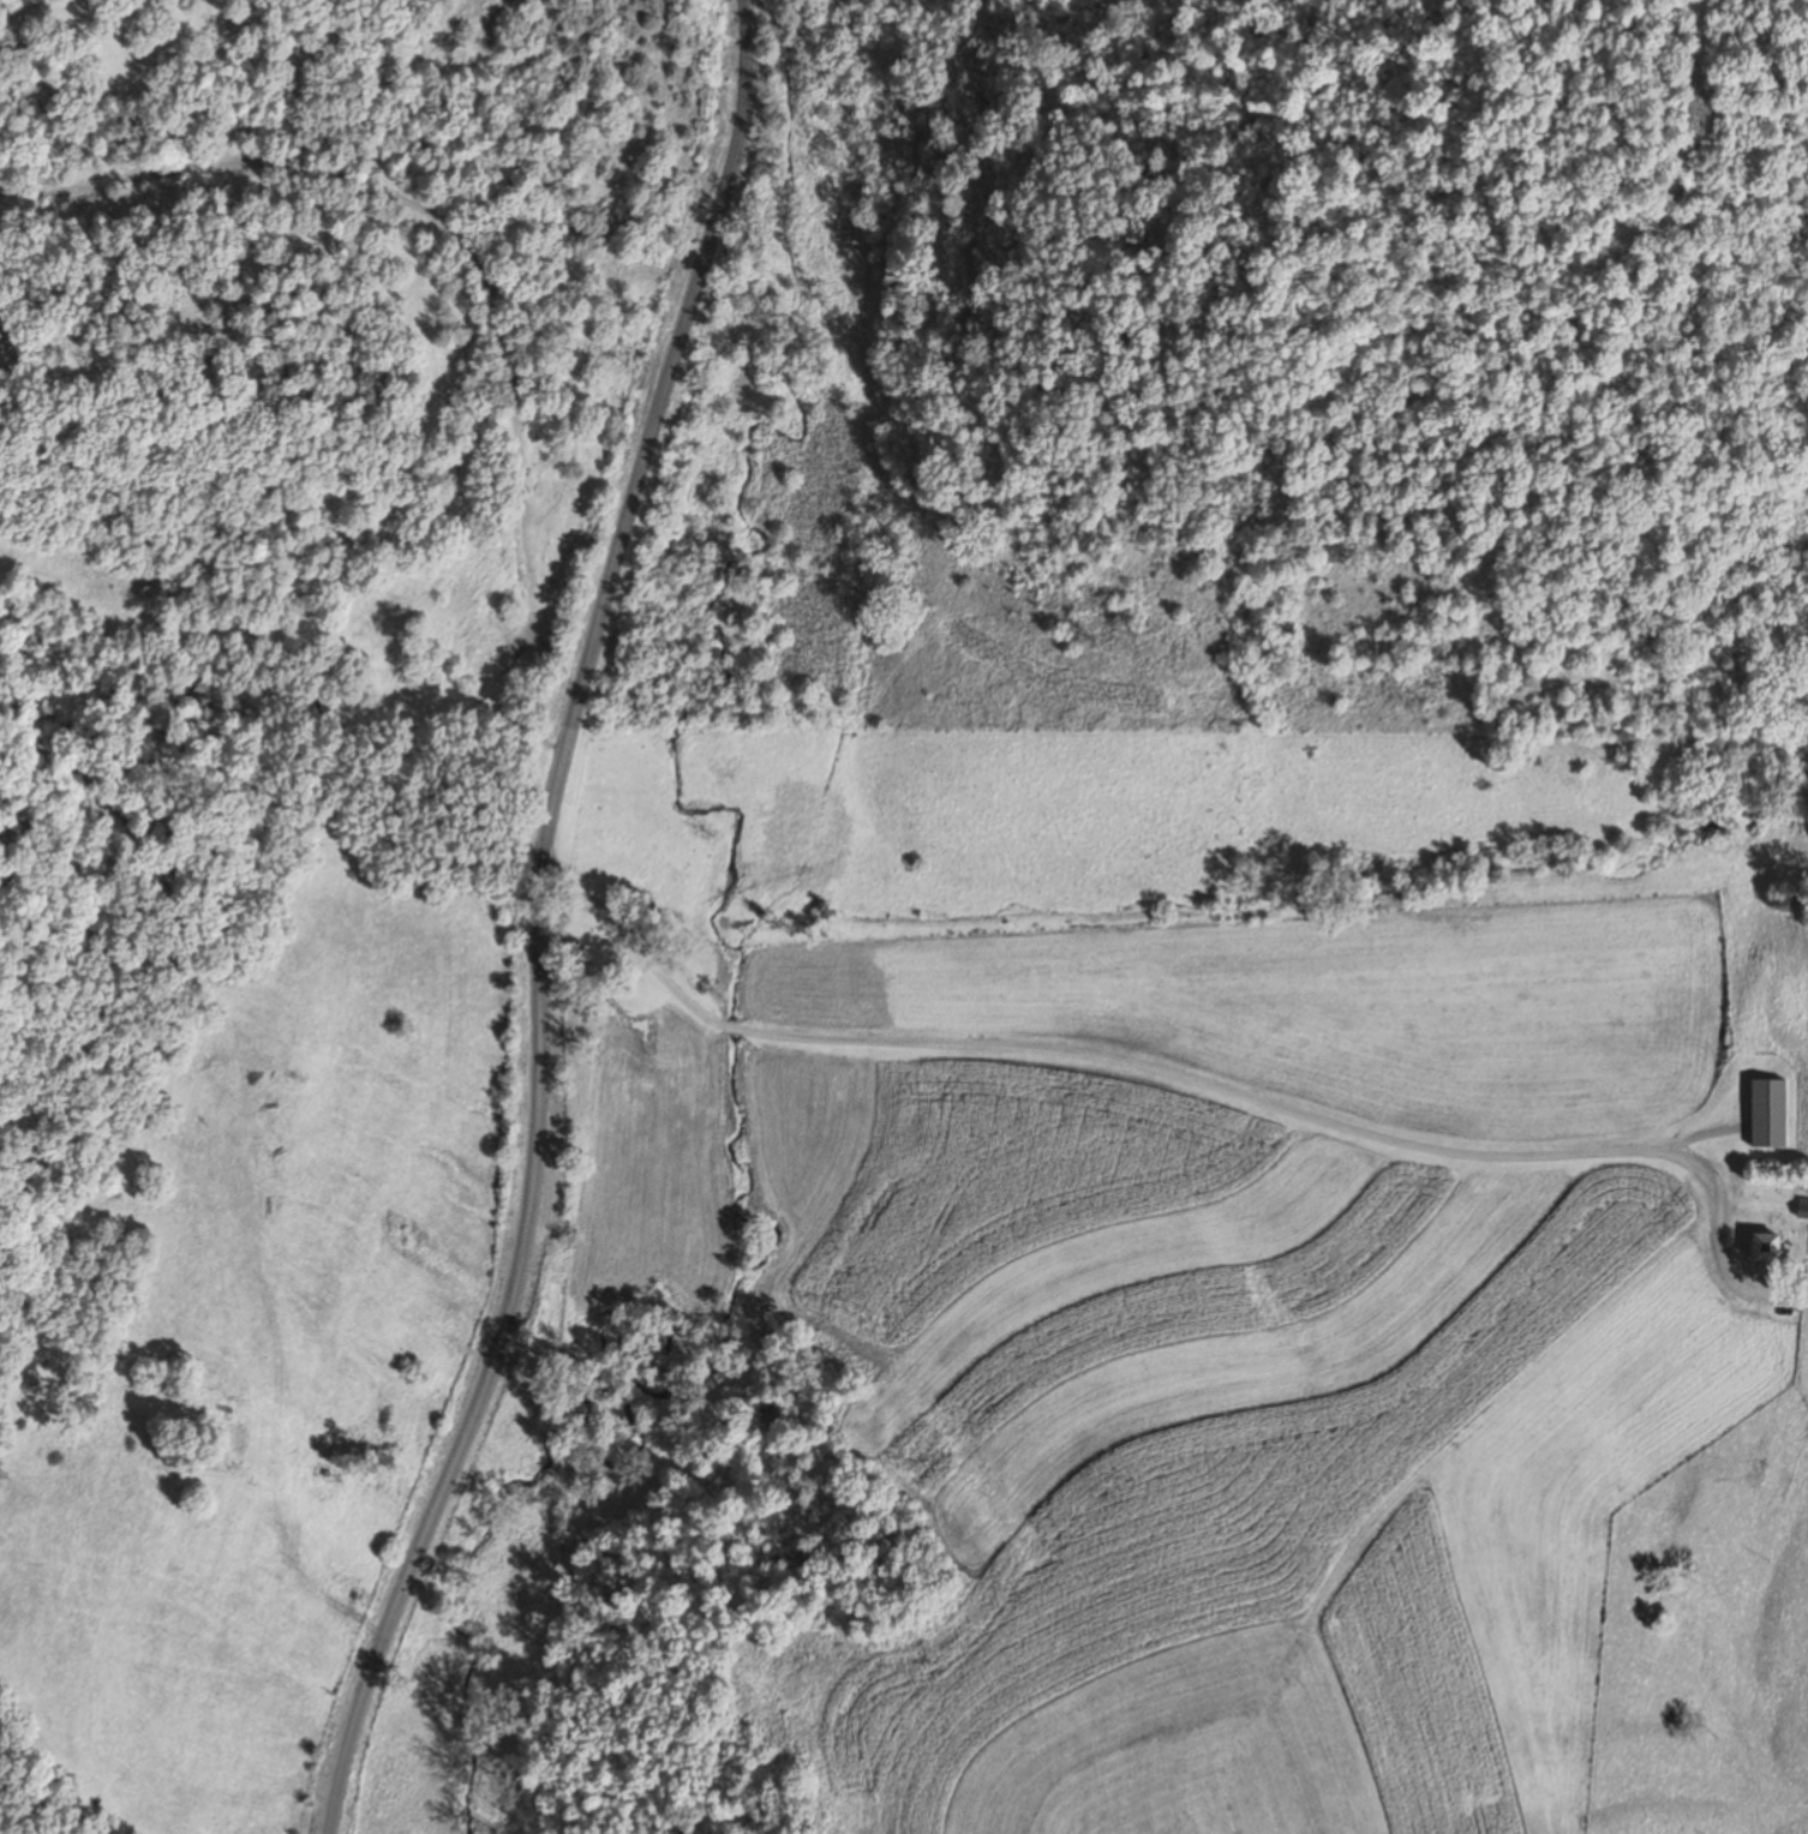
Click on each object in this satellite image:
road: (534, 923)
road: (1072, 1047)
building: (1766, 1113)
road: (1714, 1242)
building: (1761, 1247)

